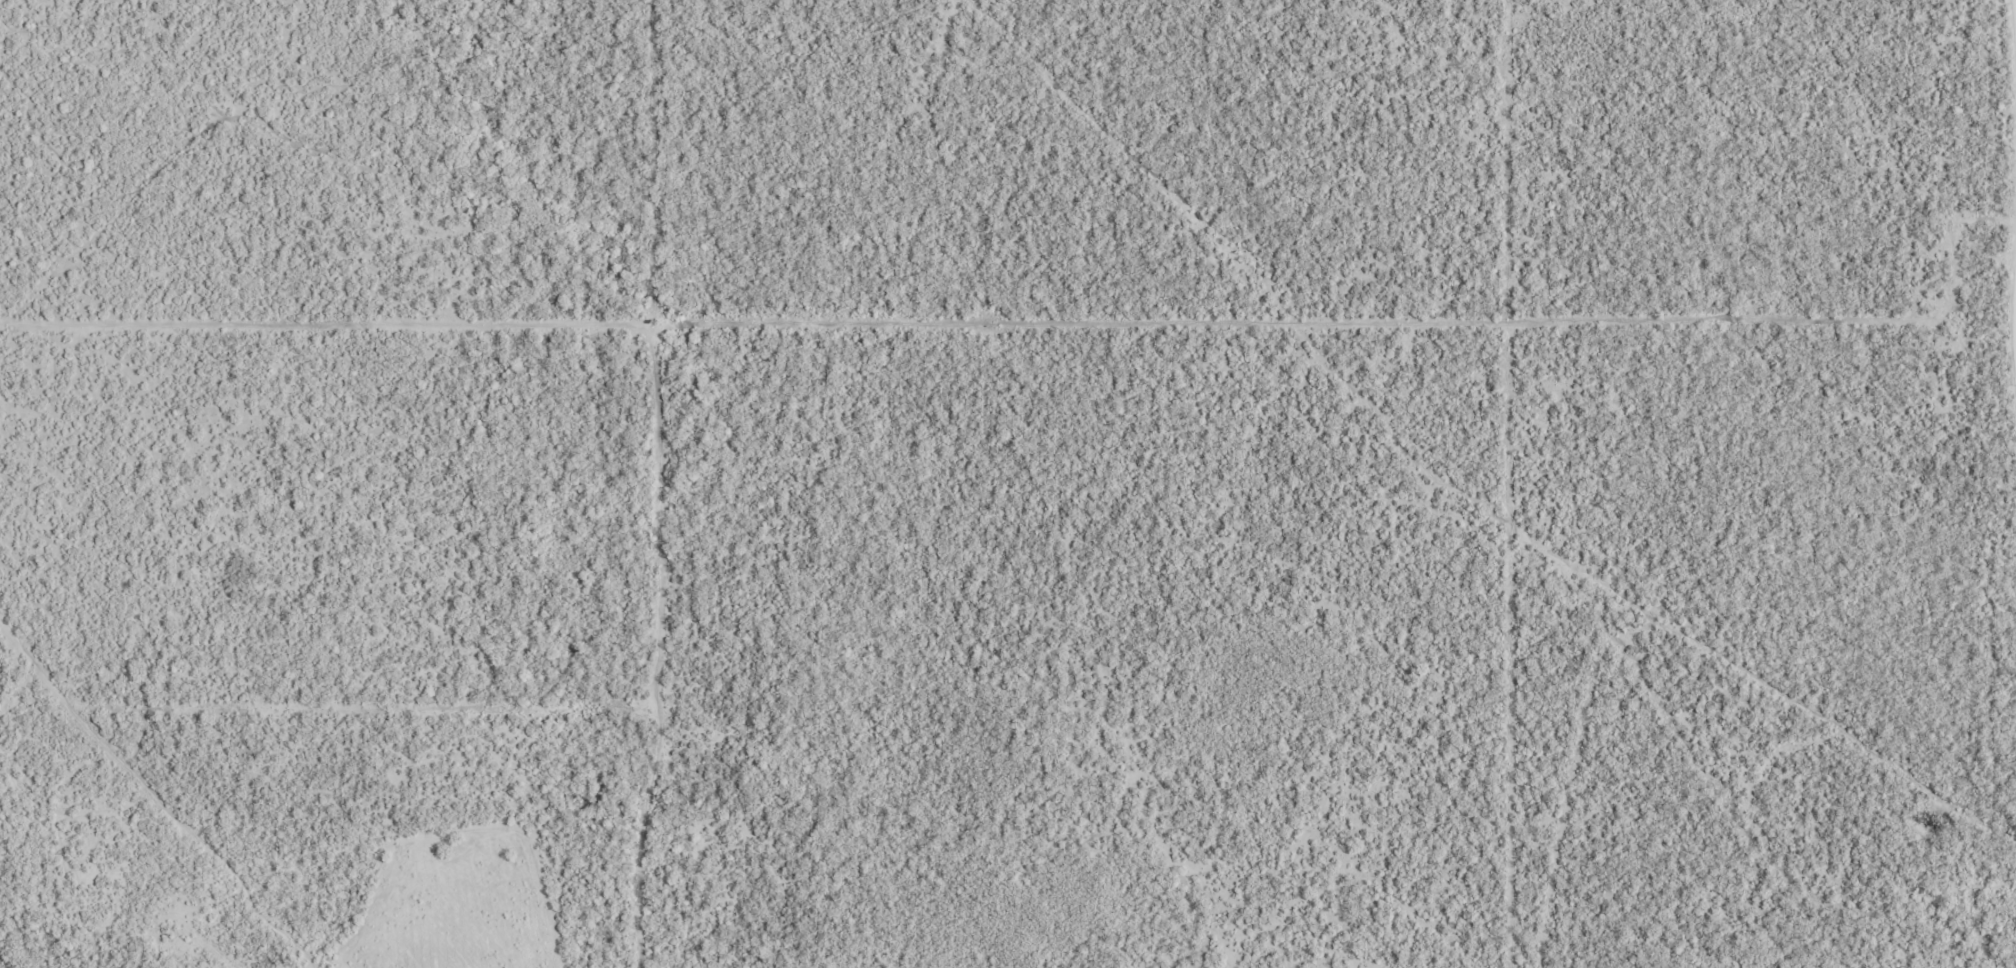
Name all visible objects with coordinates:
road: (2013, 22)

